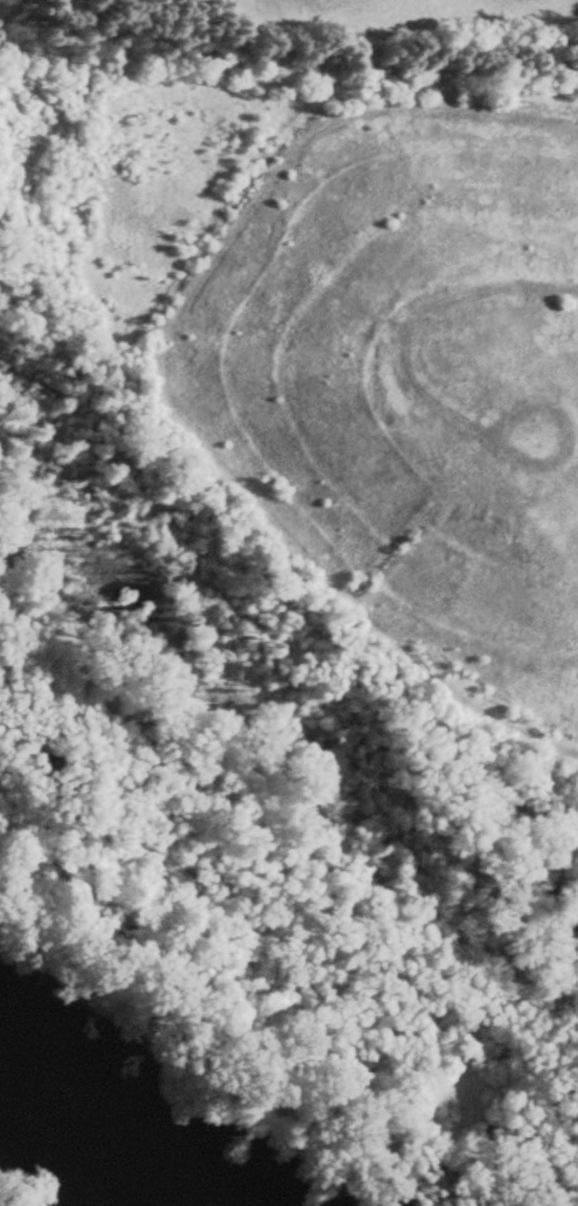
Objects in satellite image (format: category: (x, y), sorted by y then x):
road: (547, 76)
river: (98, 1137)

